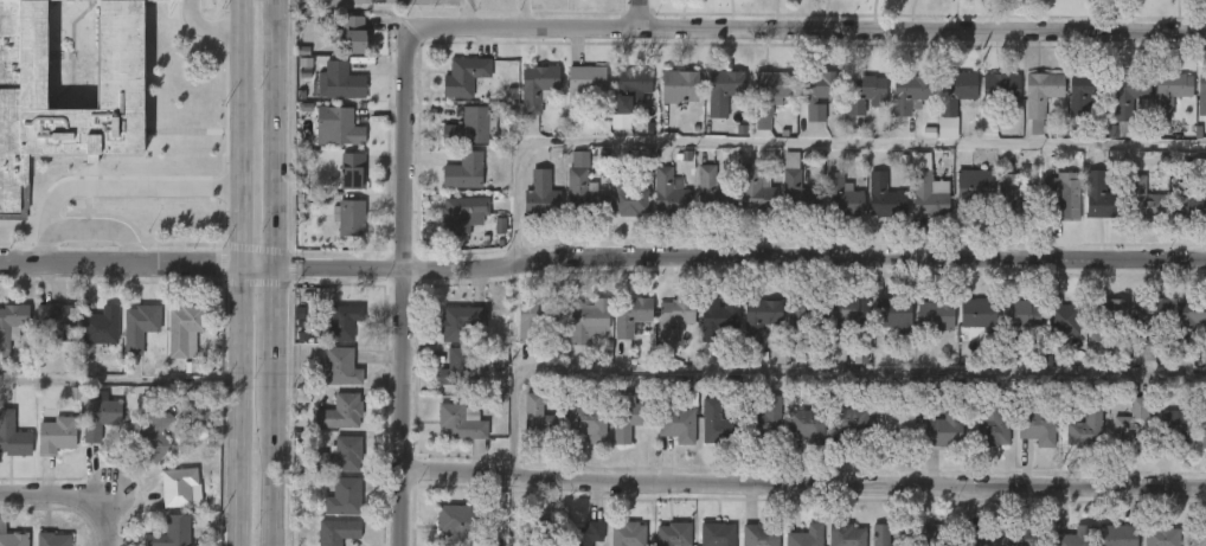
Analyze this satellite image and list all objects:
building: (173, 0)
road: (463, 14)
road: (525, 14)
road: (644, 15)
road: (205, 25)
road: (798, 32)
building: (349, 36)
building: (464, 76)
building: (338, 82)
building: (586, 84)
building: (679, 86)
building: (535, 88)
building: (631, 88)
building: (1002, 88)
building: (724, 91)
building: (820, 91)
building: (1172, 91)
building: (912, 92)
building: (957, 92)
building: (1129, 92)
building: (866, 94)
building: (1201, 94)
building: (770, 96)
building: (1086, 97)
building: (1039, 98)
building: (473, 126)
building: (335, 127)
building: (947, 128)
building: (72, 130)
road: (235, 130)
road: (281, 133)
road: (808, 143)
building: (466, 171)
building: (349, 173)
road: (110, 185)
building: (796, 187)
building: (973, 188)
building: (926, 190)
building: (755, 192)
building: (667, 194)
building: (711, 194)
building: (582, 195)
building: (1063, 195)
building: (539, 197)
building: (624, 197)
building: (1099, 197)
building: (841, 198)
building: (884, 198)
building: (1014, 199)
building: (1143, 201)
building: (1186, 201)
building: (461, 214)
building: (347, 219)
road: (94, 226)
road: (743, 255)
road: (117, 259)
road: (257, 262)
road: (403, 300)
building: (892, 313)
building: (935, 313)
building: (977, 313)
building: (630, 314)
building: (845, 315)
building: (1104, 315)
building: (716, 316)
building: (803, 316)
building: (1061, 316)
building: (534, 317)
building: (672, 317)
building: (761, 317)
building: (56, 320)
building: (1189, 320)
building: (457, 321)
building: (589, 321)
building: (335, 322)
building: (1149, 322)
building: (12, 325)
building: (1020, 325)
building: (97, 326)
building: (136, 326)
road: (278, 326)
building: (181, 327)
road: (235, 334)
building: (338, 366)
building: (458, 366)
road: (809, 366)
road: (117, 378)
building: (338, 412)
building: (100, 415)
building: (626, 417)
building: (891, 418)
building: (537, 419)
building: (586, 419)
building: (762, 419)
building: (458, 420)
building: (1134, 422)
building: (992, 423)
building: (675, 424)
building: (716, 424)
building: (848, 424)
building: (804, 425)
building: (1037, 426)
building: (1202, 426)
building: (942, 428)
building: (1086, 428)
building: (1172, 429)
building: (56, 433)
building: (12, 435)
building: (154, 436)
building: (339, 455)
road: (275, 465)
road: (235, 476)
road: (803, 481)
building: (180, 488)
road: (69, 496)
building: (345, 497)
building: (460, 522)
building: (172, 532)
building: (338, 532)
building: (537, 532)
building: (585, 533)
building: (674, 534)
building: (718, 534)
building: (762, 534)
building: (932, 534)
building: (628, 535)
building: (846, 535)
building: (1021, 535)
building: (1116, 535)
building: (1161, 535)
road: (1199, 535)
building: (12, 537)
building: (806, 537)
building: (884, 537)
building: (980, 537)
building: (1073, 537)
building: (50, 539)

